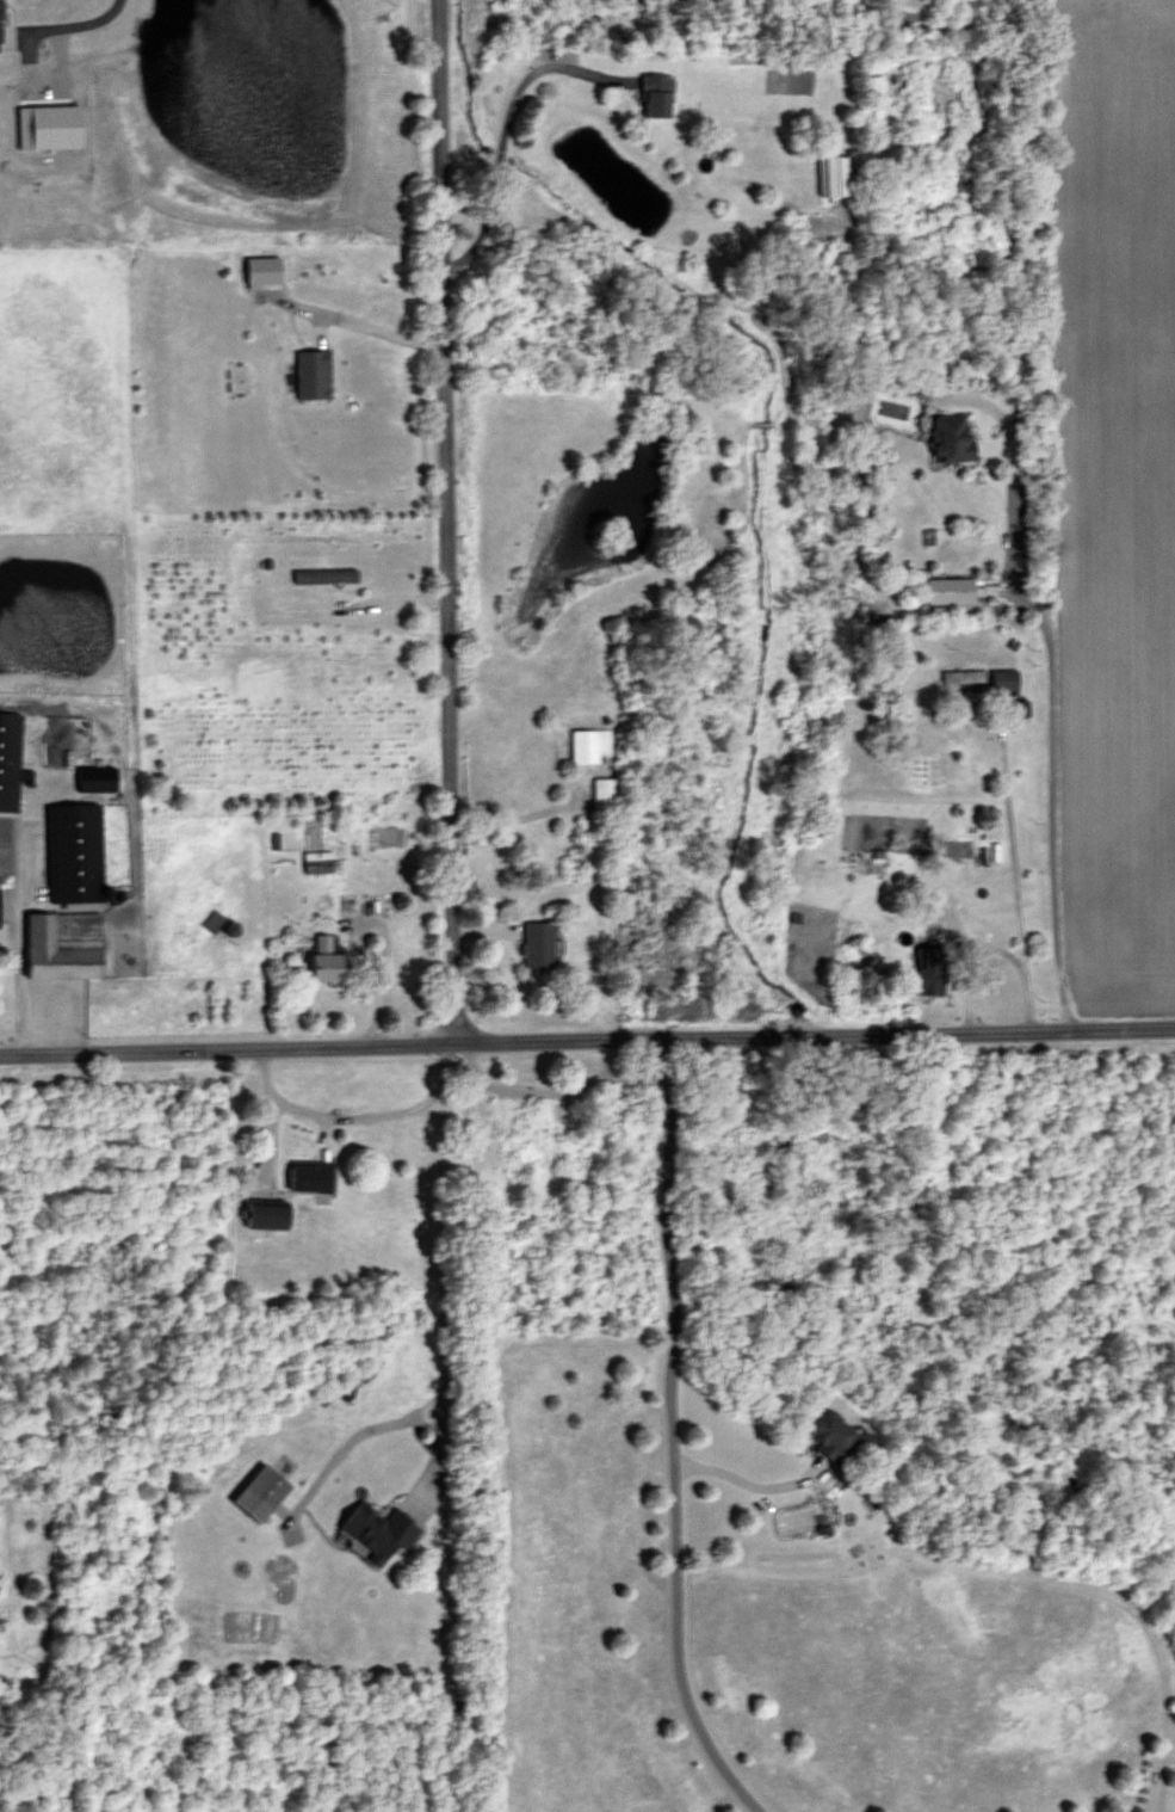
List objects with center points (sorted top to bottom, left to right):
road: (70, 24)
building: (0, 43)
building: (655, 92)
building: (48, 124)
road: (505, 129)
building: (831, 173)
building: (262, 267)
road: (371, 326)
building: (311, 372)
building: (951, 437)
road: (444, 519)
building: (324, 573)
building: (948, 588)
building: (1004, 677)
road: (1051, 738)
building: (588, 742)
building: (10, 758)
building: (95, 777)
building: (602, 791)
building: (316, 859)
building: (68, 895)
road: (19, 926)
building: (534, 943)
building: (327, 957)
building: (928, 970)
road: (587, 1035)
road: (338, 1116)
building: (307, 1173)
building: (266, 1214)
road: (444, 1265)
road: (359, 1430)
road: (672, 1432)
building: (830, 1434)
road: (746, 1484)
building: (260, 1492)
building: (377, 1529)

